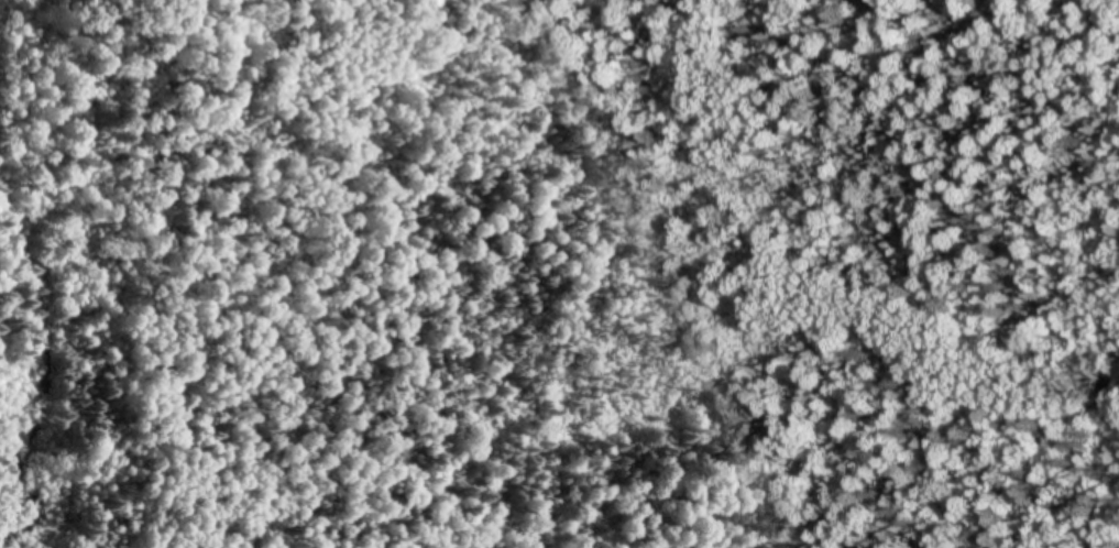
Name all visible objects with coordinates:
road: (1021, 457)

